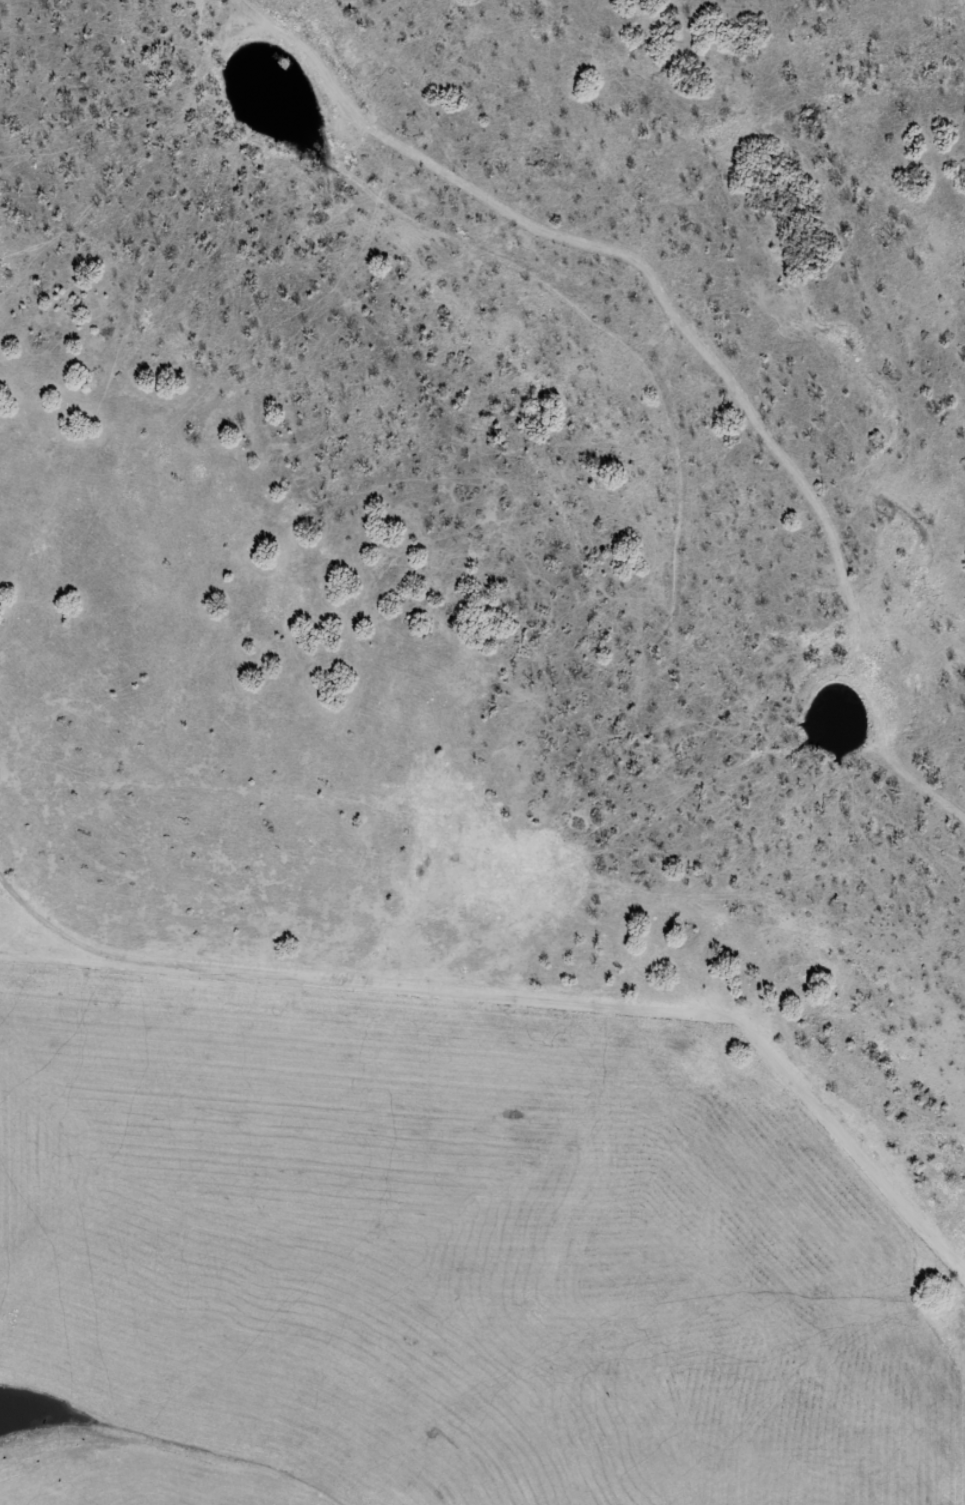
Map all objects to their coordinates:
road: (415, 331)

